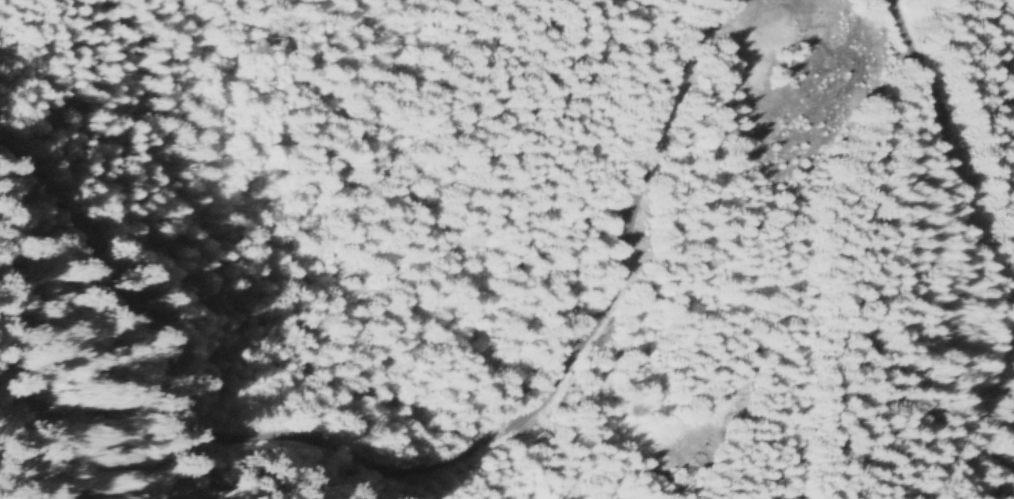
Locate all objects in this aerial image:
road: (939, 158)
road: (427, 471)

